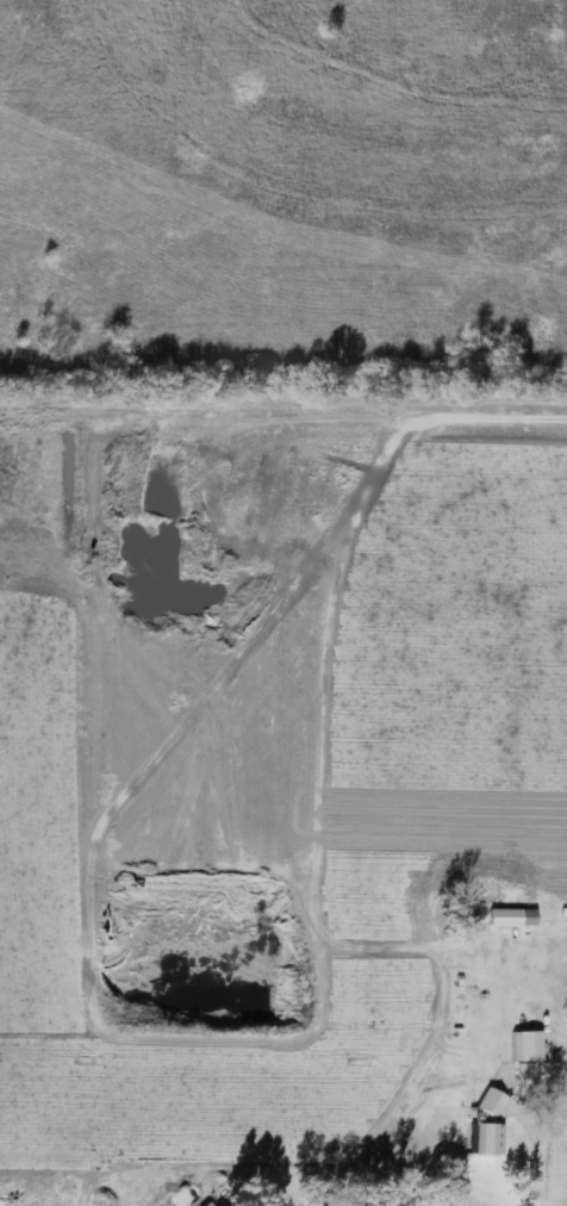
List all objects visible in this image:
road: (263, 466)
building: (500, 919)
road: (200, 945)
building: (529, 1080)
building: (488, 1105)
building: (487, 1140)
road: (537, 1148)

